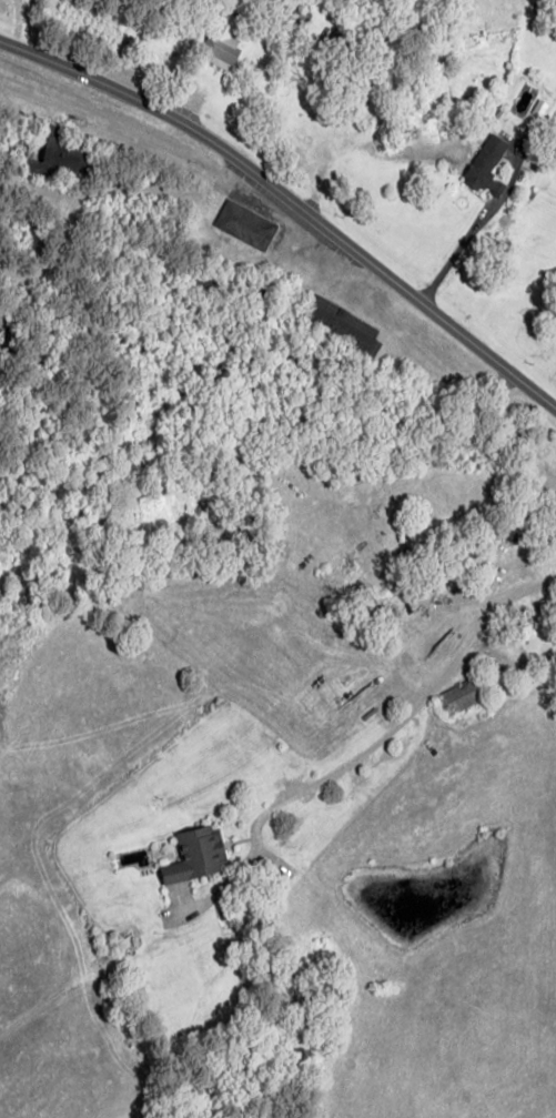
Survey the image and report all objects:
building: (222, 41)
building: (542, 109)
building: (60, 157)
road: (293, 202)
building: (245, 223)
building: (342, 322)
building: (553, 505)
road: (403, 696)
building: (461, 696)
building: (198, 855)

